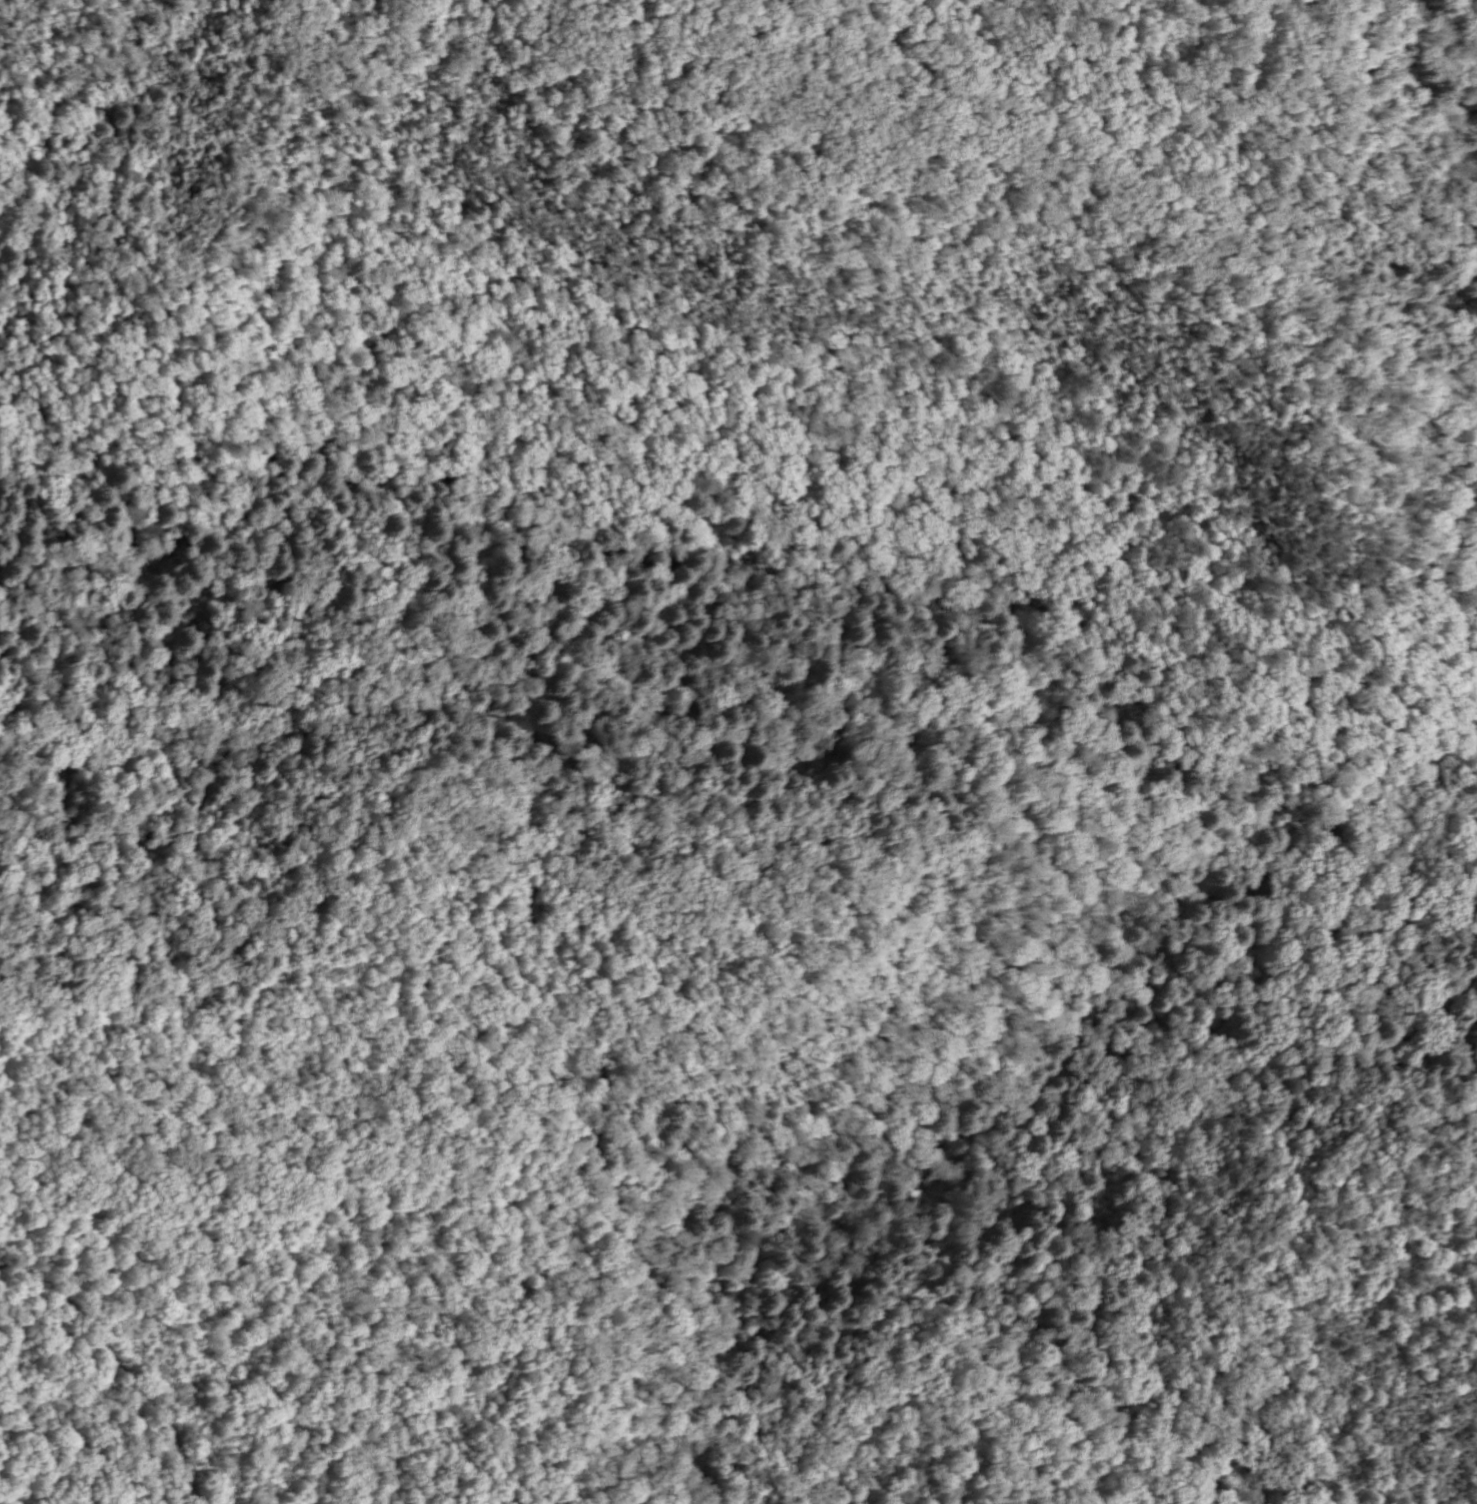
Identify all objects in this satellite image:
road: (126, 1363)

